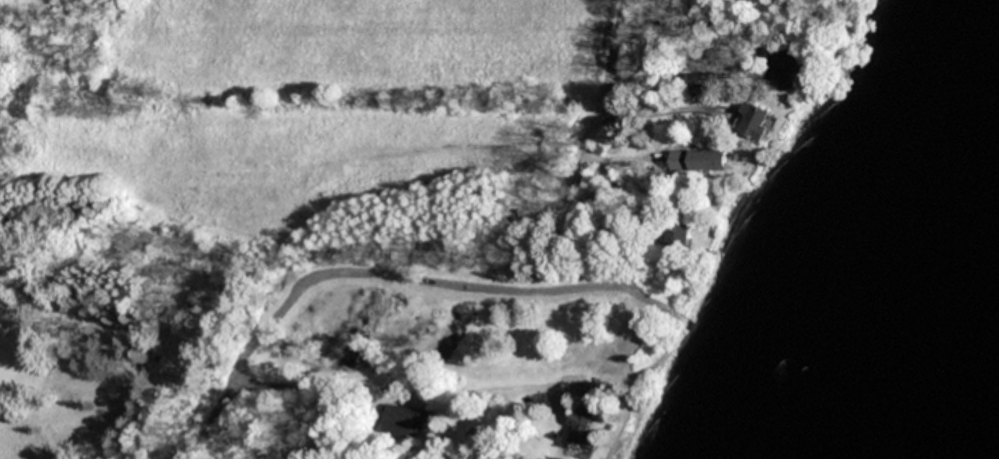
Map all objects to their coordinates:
building: (755, 120)
road: (593, 126)
building: (679, 234)
road: (415, 390)
road: (225, 402)
building: (403, 419)
building: (582, 431)

